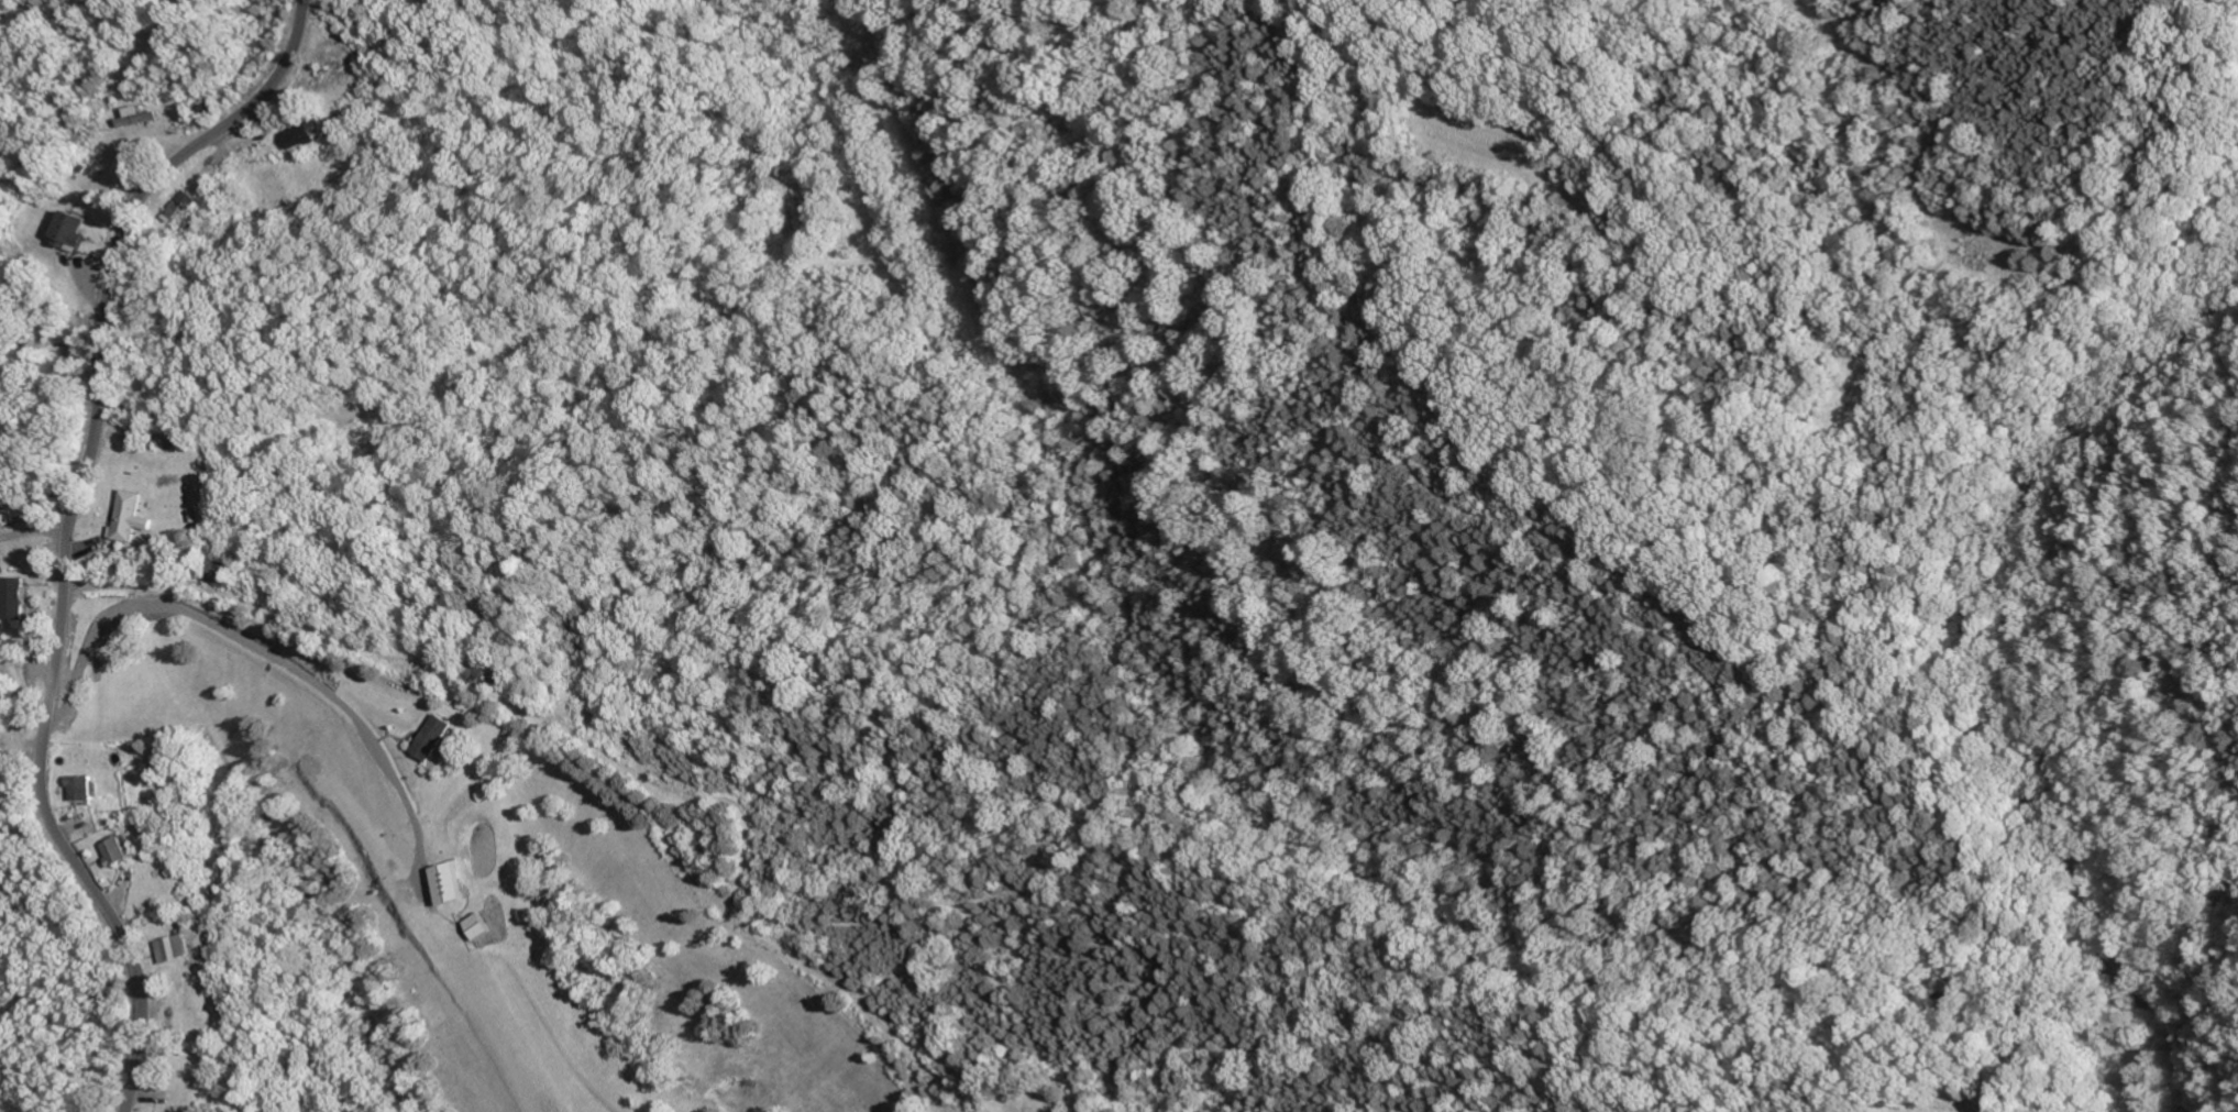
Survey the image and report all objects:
building: (146, 117)
building: (304, 136)
building: (181, 203)
building: (76, 231)
building: (15, 516)
building: (134, 518)
road: (73, 529)
road: (35, 535)
building: (19, 598)
road: (82, 652)
road: (289, 680)
building: (432, 736)
building: (86, 786)
building: (119, 850)
building: (451, 882)
building: (483, 925)
building: (180, 947)

